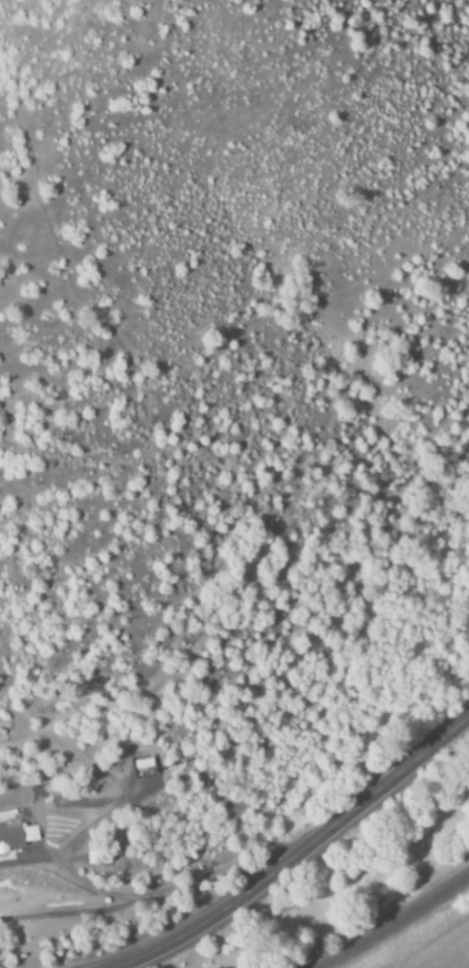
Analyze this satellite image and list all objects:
building: (18, 837)
road: (296, 851)
road: (99, 891)
railway: (405, 927)

